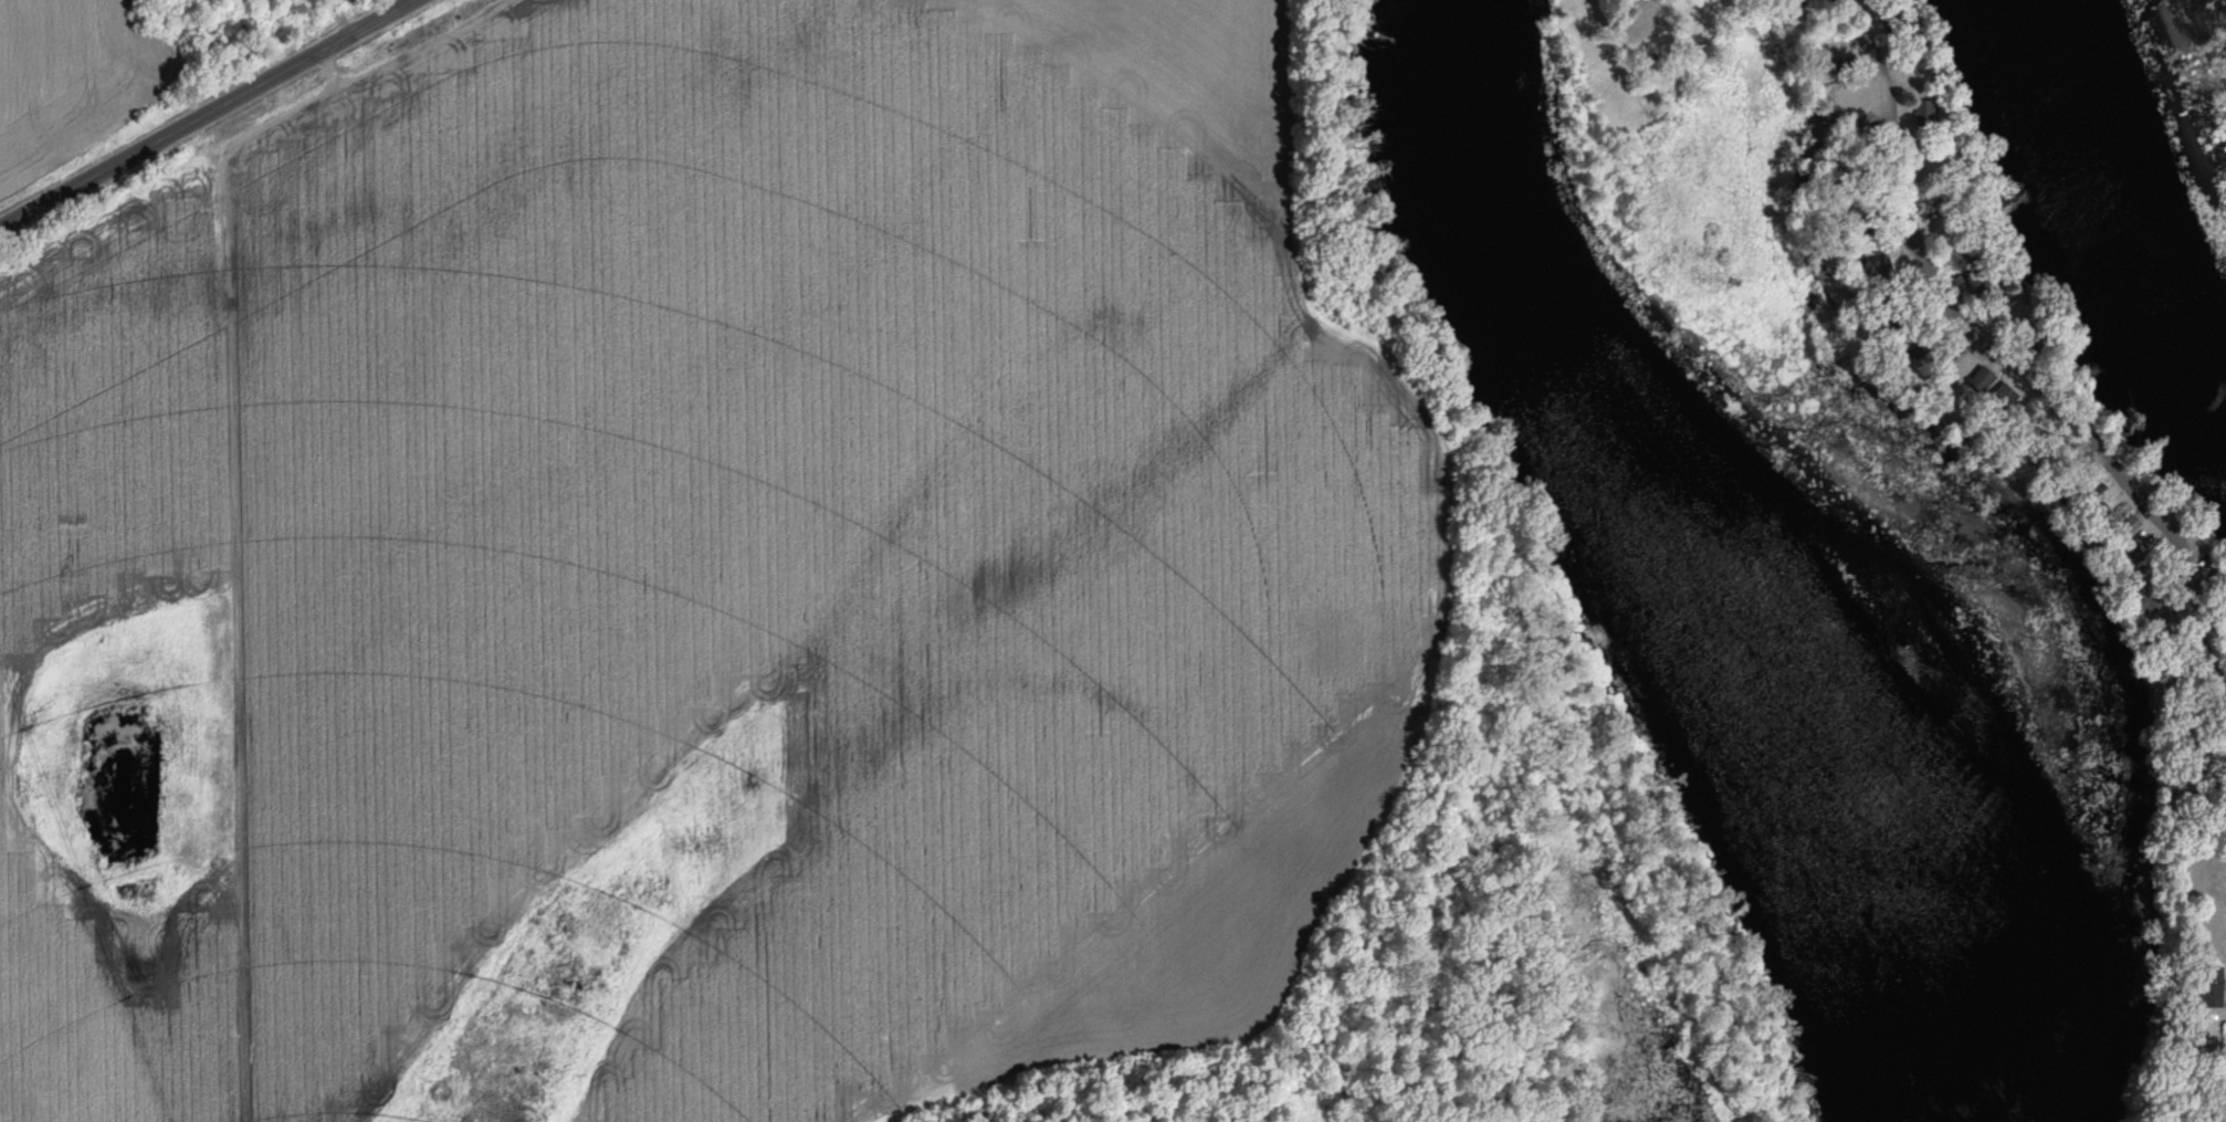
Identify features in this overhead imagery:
building: (1800, 4)
building: (1898, 28)
building: (1922, 112)
road: (207, 113)
river: (2140, 202)
building: (1947, 353)
road: (1997, 359)
building: (1978, 380)
building: (2001, 398)
building: (2129, 526)
river: (1760, 536)
building: (2124, 557)
building: (2219, 579)
building: (2208, 987)

